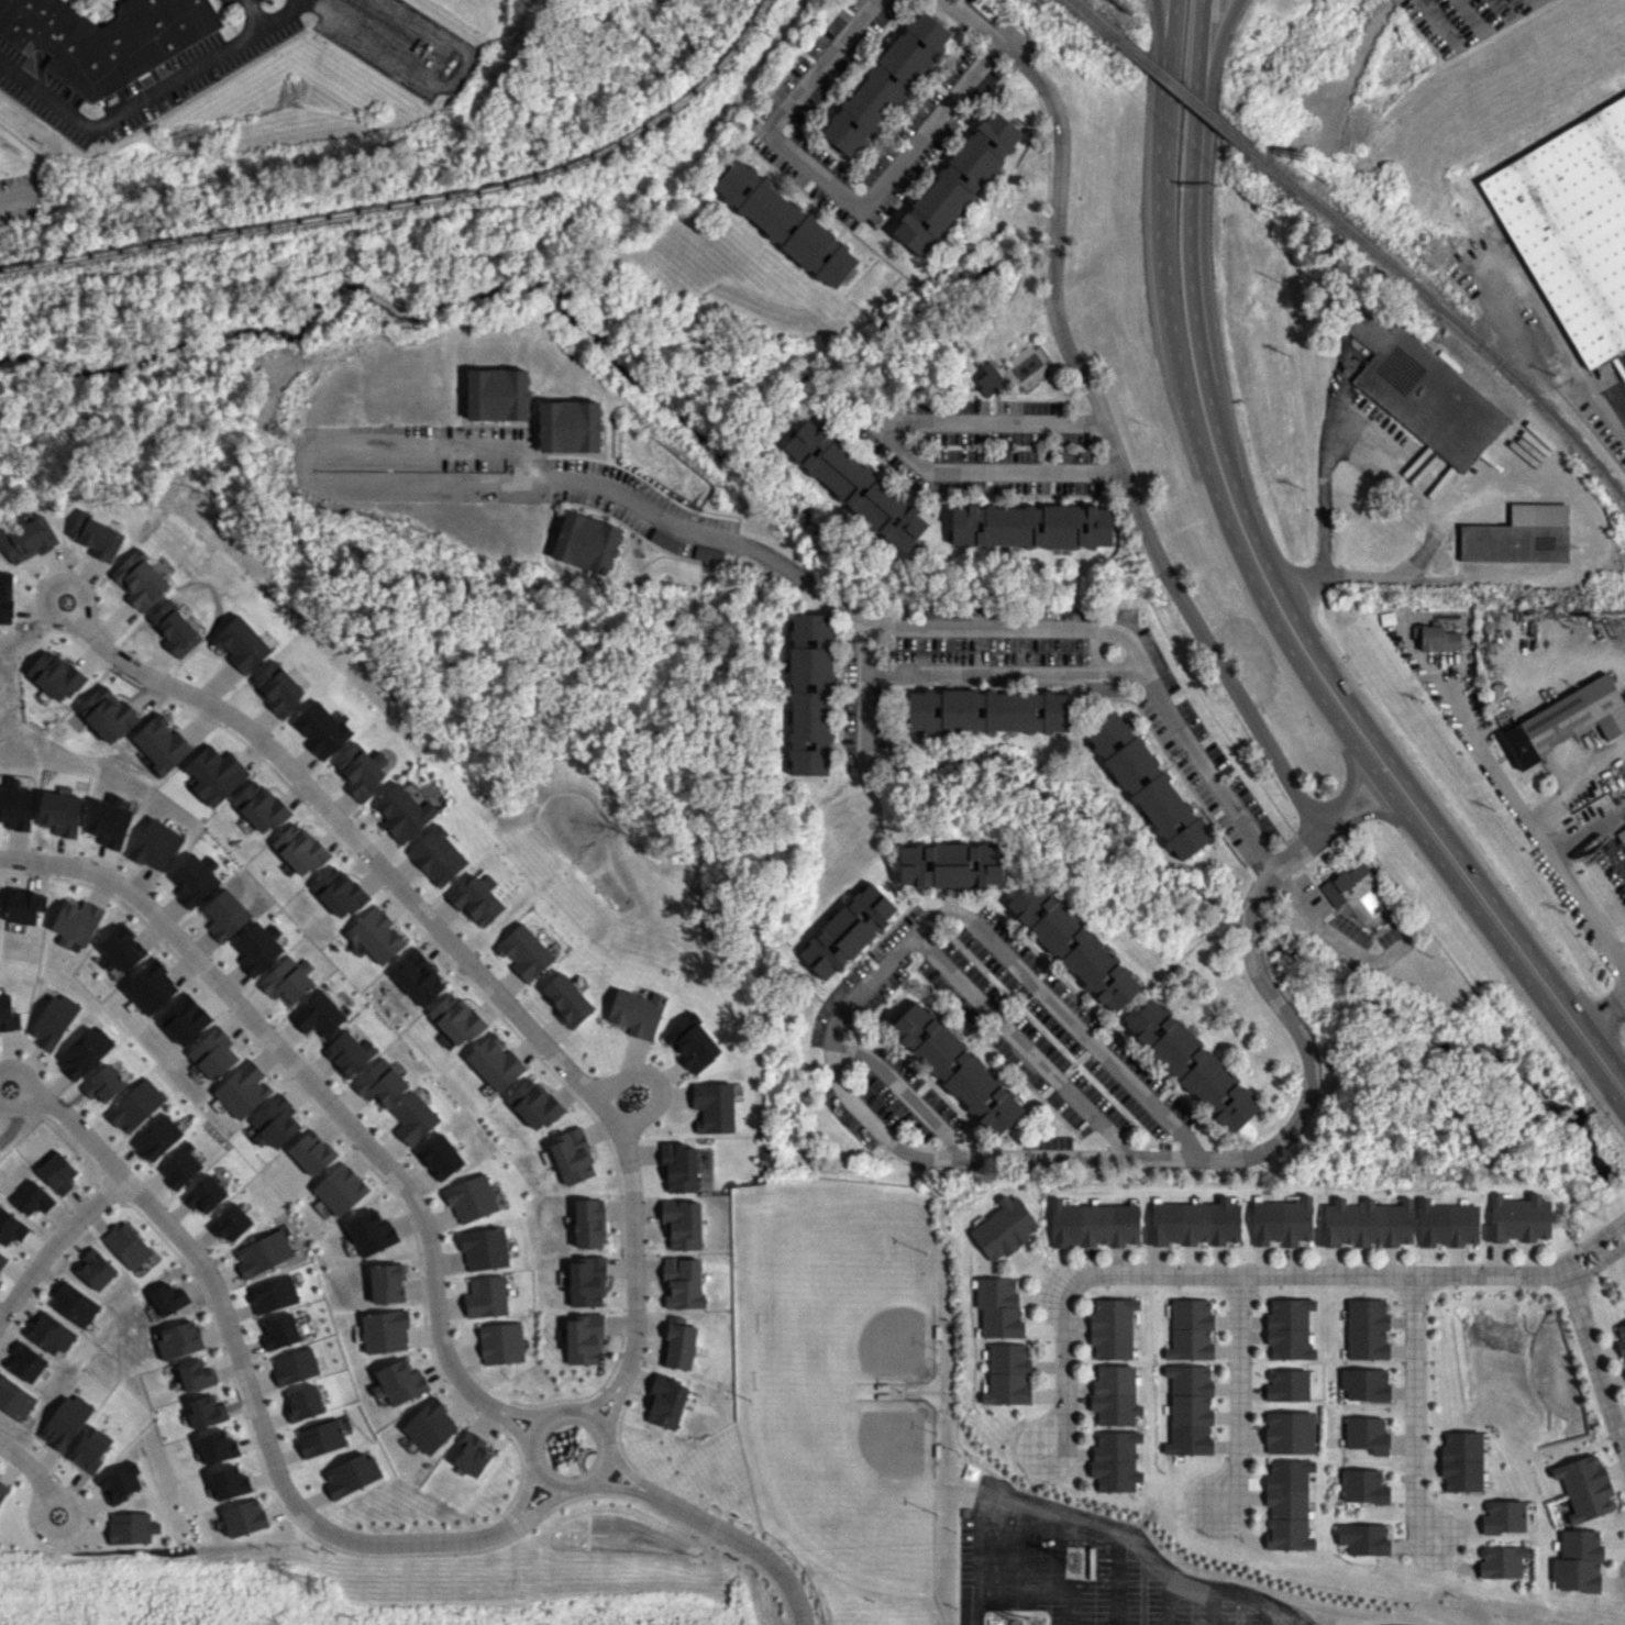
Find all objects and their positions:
road: (250, 13)
railway: (1097, 20)
road: (1435, 20)
road: (1163, 33)
building: (106, 38)
road: (1198, 56)
road: (429, 81)
building: (885, 82)
road: (146, 92)
railway: (1185, 93)
building: (1, 145)
building: (957, 183)
road: (13, 199)
railway: (417, 203)
road: (859, 209)
road: (1203, 210)
building: (785, 223)
building: (1572, 226)
road: (1168, 247)
road: (1193, 298)
railway: (1447, 313)
railway: (1560, 333)
road: (1548, 335)
building: (990, 379)
road: (1620, 382)
building: (1423, 391)
building: (497, 395)
building: (568, 427)
road: (895, 436)
road: (1114, 442)
road: (298, 463)
road: (1388, 475)
road: (1323, 482)
building: (855, 485)
building: (1030, 526)
road: (710, 533)
building: (1519, 535)
building: (97, 537)
building: (29, 540)
building: (664, 540)
building: (586, 542)
road: (1596, 546)
building: (706, 554)
building: (140, 579)
road: (53, 584)
building: (5, 597)
building: (174, 629)
road: (1126, 637)
building: (1438, 639)
building: (241, 643)
road: (1095, 649)
road: (1004, 670)
building: (53, 675)
building: (277, 688)
building: (809, 694)
road: (863, 694)
building: (987, 711)
building: (106, 714)
building: (1566, 721)
building: (320, 729)
building: (159, 743)
building: (361, 770)
building: (213, 774)
road: (1349, 781)
road: (1574, 782)
building: (1147, 785)
road: (1412, 788)
building: (15, 807)
building: (258, 807)
road: (1403, 810)
building: (59, 812)
building: (402, 812)
road: (1364, 814)
building: (108, 821)
road: (1587, 831)
road: (1535, 833)
building: (1622, 833)
road: (1297, 844)
building: (155, 845)
building: (298, 849)
building: (436, 856)
building: (951, 864)
building: (194, 880)
building: (1344, 882)
building: (338, 892)
building: (477, 898)
building: (24, 906)
building: (224, 915)
building: (76, 922)
building: (845, 931)
building: (375, 936)
road: (1331, 936)
building: (1073, 944)
building: (256, 948)
building: (120, 950)
building: (524, 952)
road: (469, 964)
building: (417, 977)
building: (287, 981)
building: (150, 987)
building: (566, 999)
building: (637, 1013)
building: (317, 1014)
building: (8, 1015)
road: (1607, 1015)
building: (184, 1019)
building: (52, 1020)
building: (454, 1020)
road: (1020, 1041)
building: (693, 1043)
building: (82, 1051)
building: (347, 1052)
building: (212, 1053)
building: (494, 1062)
building: (1192, 1065)
building: (955, 1068)
road: (21, 1074)
road: (656, 1080)
building: (102, 1083)
building: (379, 1083)
road: (899, 1087)
building: (242, 1090)
road: (324, 1096)
building: (533, 1104)
road: (15, 1105)
building: (134, 1106)
building: (714, 1107)
building: (412, 1118)
building: (274, 1123)
building: (156, 1138)
road: (911, 1150)
building: (310, 1153)
building: (440, 1157)
building: (573, 1157)
building: (179, 1167)
building: (678, 1168)
building: (57, 1172)
building: (340, 1189)
building: (203, 1194)
building: (33, 1198)
building: (471, 1198)
building: (1517, 1218)
building: (1281, 1221)
building: (229, 1223)
building: (588, 1223)
building: (682, 1224)
building: (1093, 1224)
building: (1193, 1224)
building: (1366, 1224)
building: (1446, 1224)
building: (10, 1227)
building: (1004, 1228)
building: (371, 1232)
road: (56, 1242)
building: (126, 1245)
building: (484, 1249)
building: (262, 1253)
building: (1, 1258)
building: (96, 1270)
road: (1353, 1274)
building: (584, 1281)
building: (387, 1283)
building: (682, 1283)
building: (273, 1294)
building: (486, 1296)
building: (168, 1298)
building: (73, 1304)
building: (998, 1307)
building: (1112, 1327)
building: (1289, 1328)
building: (1190, 1329)
building: (1367, 1329)
building: (280, 1331)
building: (385, 1331)
building: (49, 1334)
building: (1621, 1338)
building: (583, 1339)
building: (179, 1340)
building: (500, 1342)
building: (677, 1344)
road: (1598, 1352)
building: (26, 1362)
building: (294, 1367)
road: (1068, 1369)
building: (1007, 1374)
building: (196, 1375)
building: (401, 1382)
building: (1366, 1384)
building: (1286, 1385)
building: (1114, 1395)
road: (1238, 1395)
building: (14, 1399)
building: (665, 1402)
building: (303, 1403)
road: (254, 1405)
building: (1190, 1410)
building: (207, 1412)
road: (1417, 1413)
building: (65, 1422)
building: (430, 1426)
building: (1289, 1433)
building: (1367, 1435)
building: (322, 1437)
building: (218, 1447)
building: (90, 1448)
road: (532, 1452)
building: (471, 1453)
building: (1115, 1461)
building: (1461, 1461)
road: (25, 1463)
building: (350, 1474)
building: (229, 1482)
building: (120, 1483)
building: (1363, 1486)
building: (1584, 1488)
building: (2, 1491)
building: (1287, 1504)
building: (243, 1517)
building: (1503, 1517)
road: (1088, 1524)
building: (131, 1527)
road: (722, 1530)
road: (64, 1533)
building: (1363, 1539)
building: (1501, 1561)
building: (1578, 1561)
power tower: (1075, 1567)
road: (1112, 1578)
power tower: (306, 1591)

